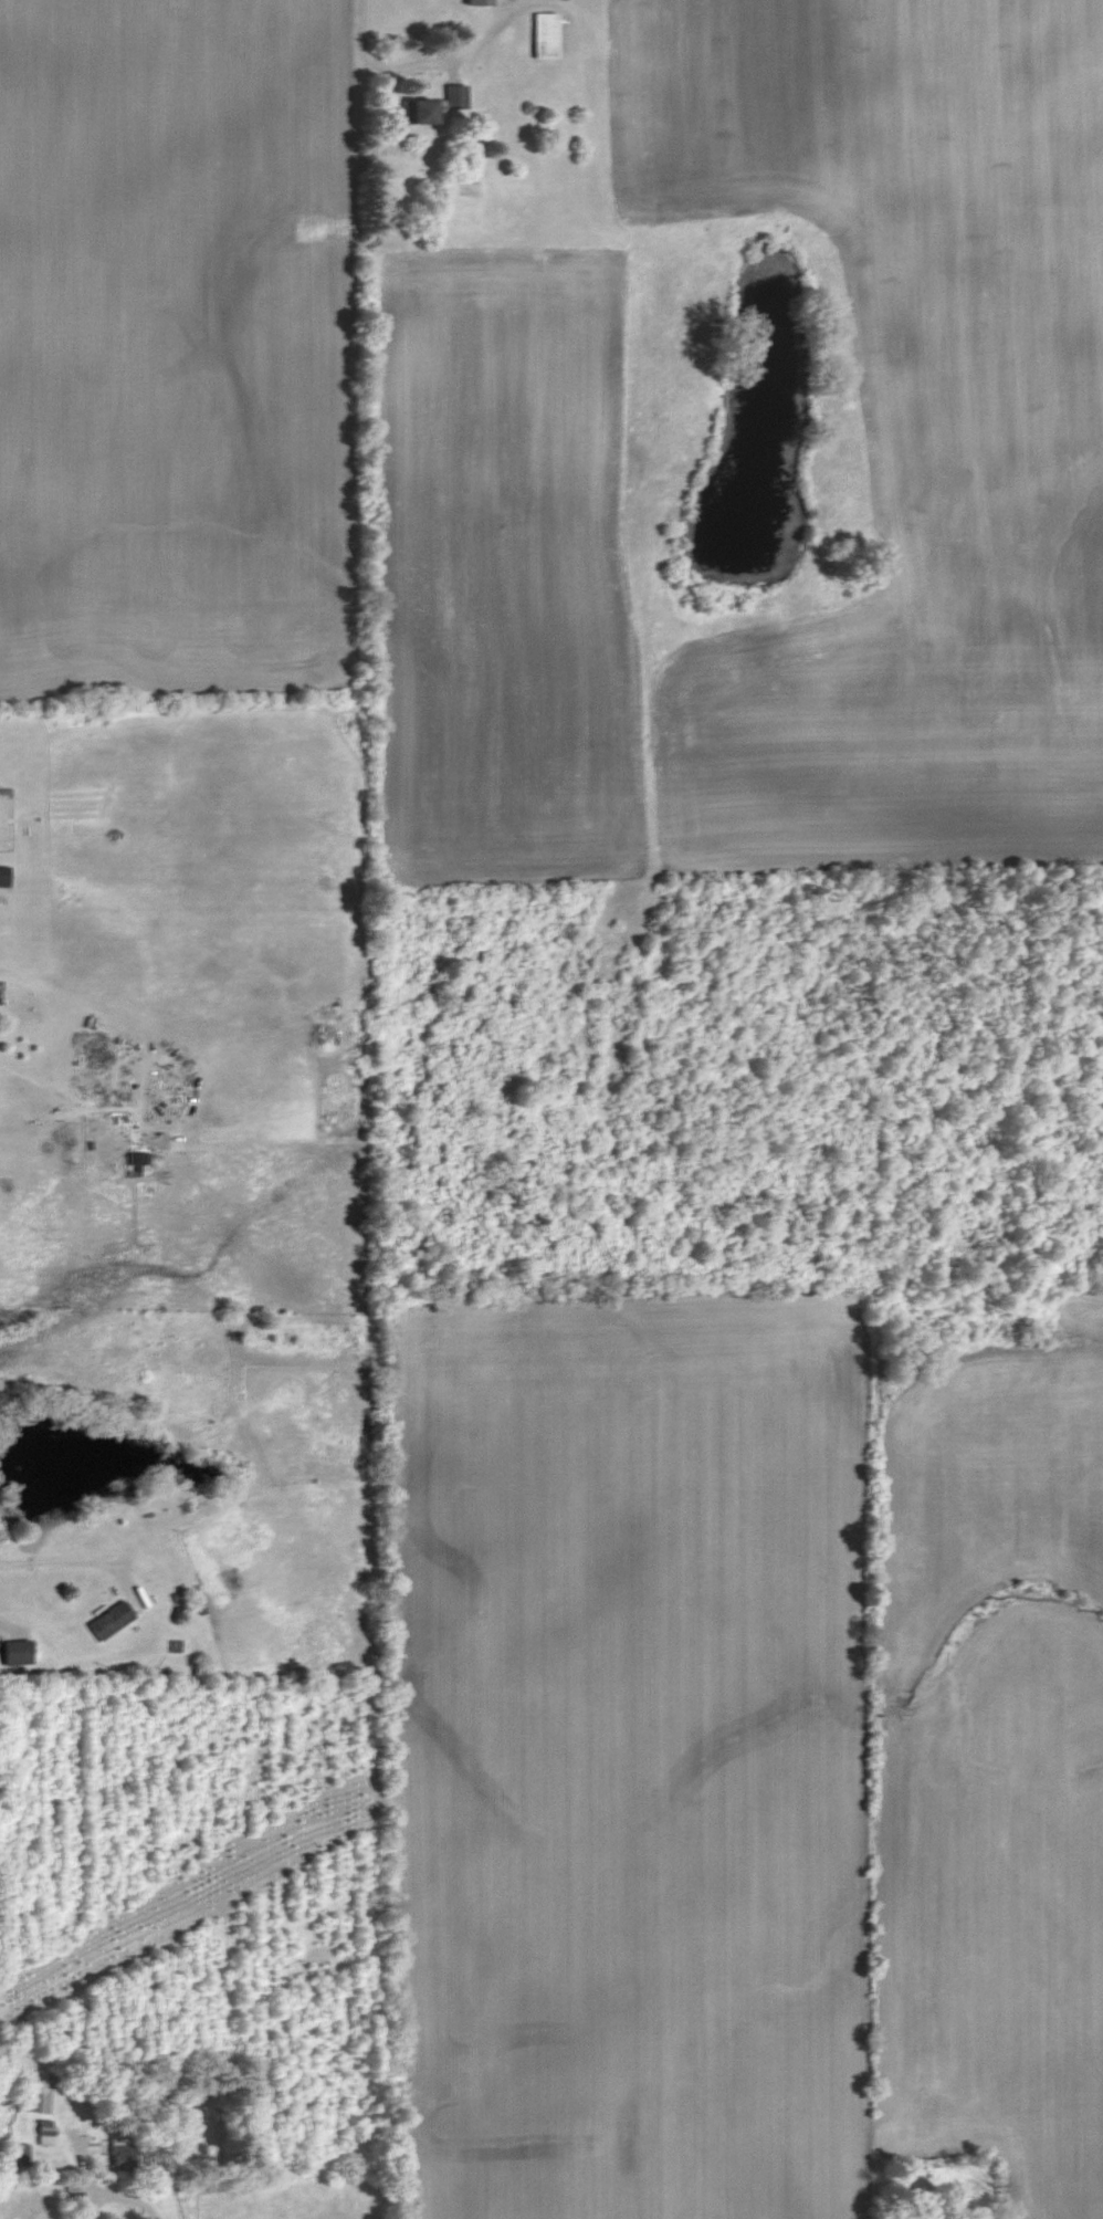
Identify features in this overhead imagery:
building: (475, 3)
building: (540, 35)
road: (379, 66)
building: (453, 97)
building: (413, 113)
building: (2, 876)
building: (134, 1160)
building: (107, 1620)
building: (13, 1653)
building: (35, 2102)
building: (119, 2154)
building: (14, 2155)
road: (149, 2186)
building: (70, 2198)

